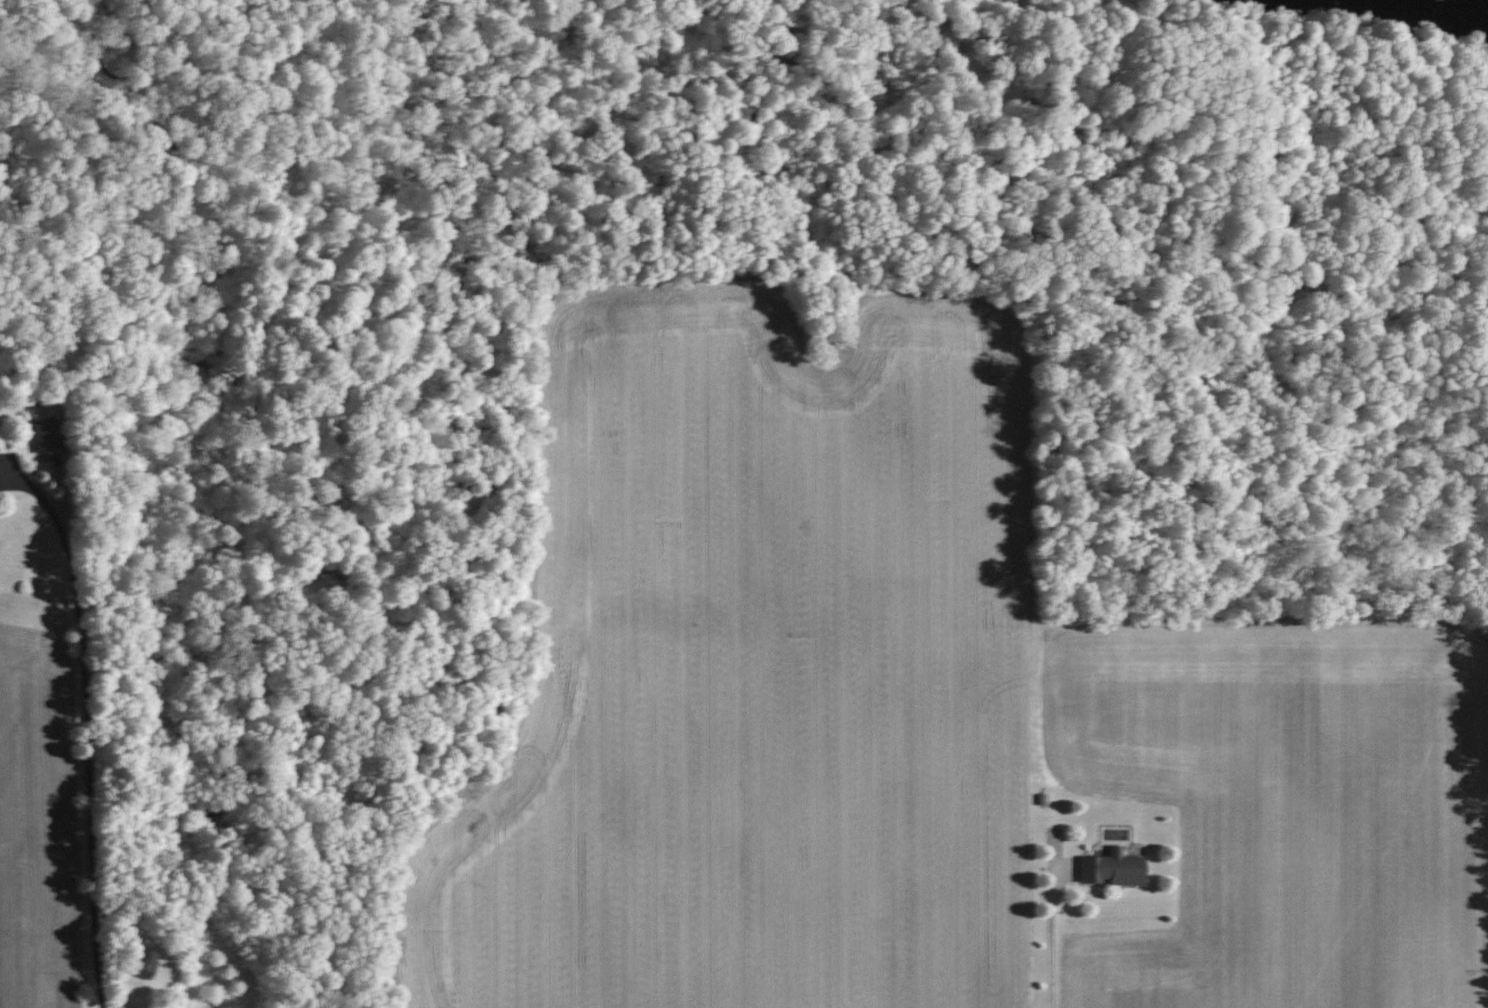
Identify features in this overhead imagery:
river: (1368, 15)
building: (48, 436)
road: (93, 769)
building: (1108, 868)
road: (1047, 940)
building: (137, 963)

